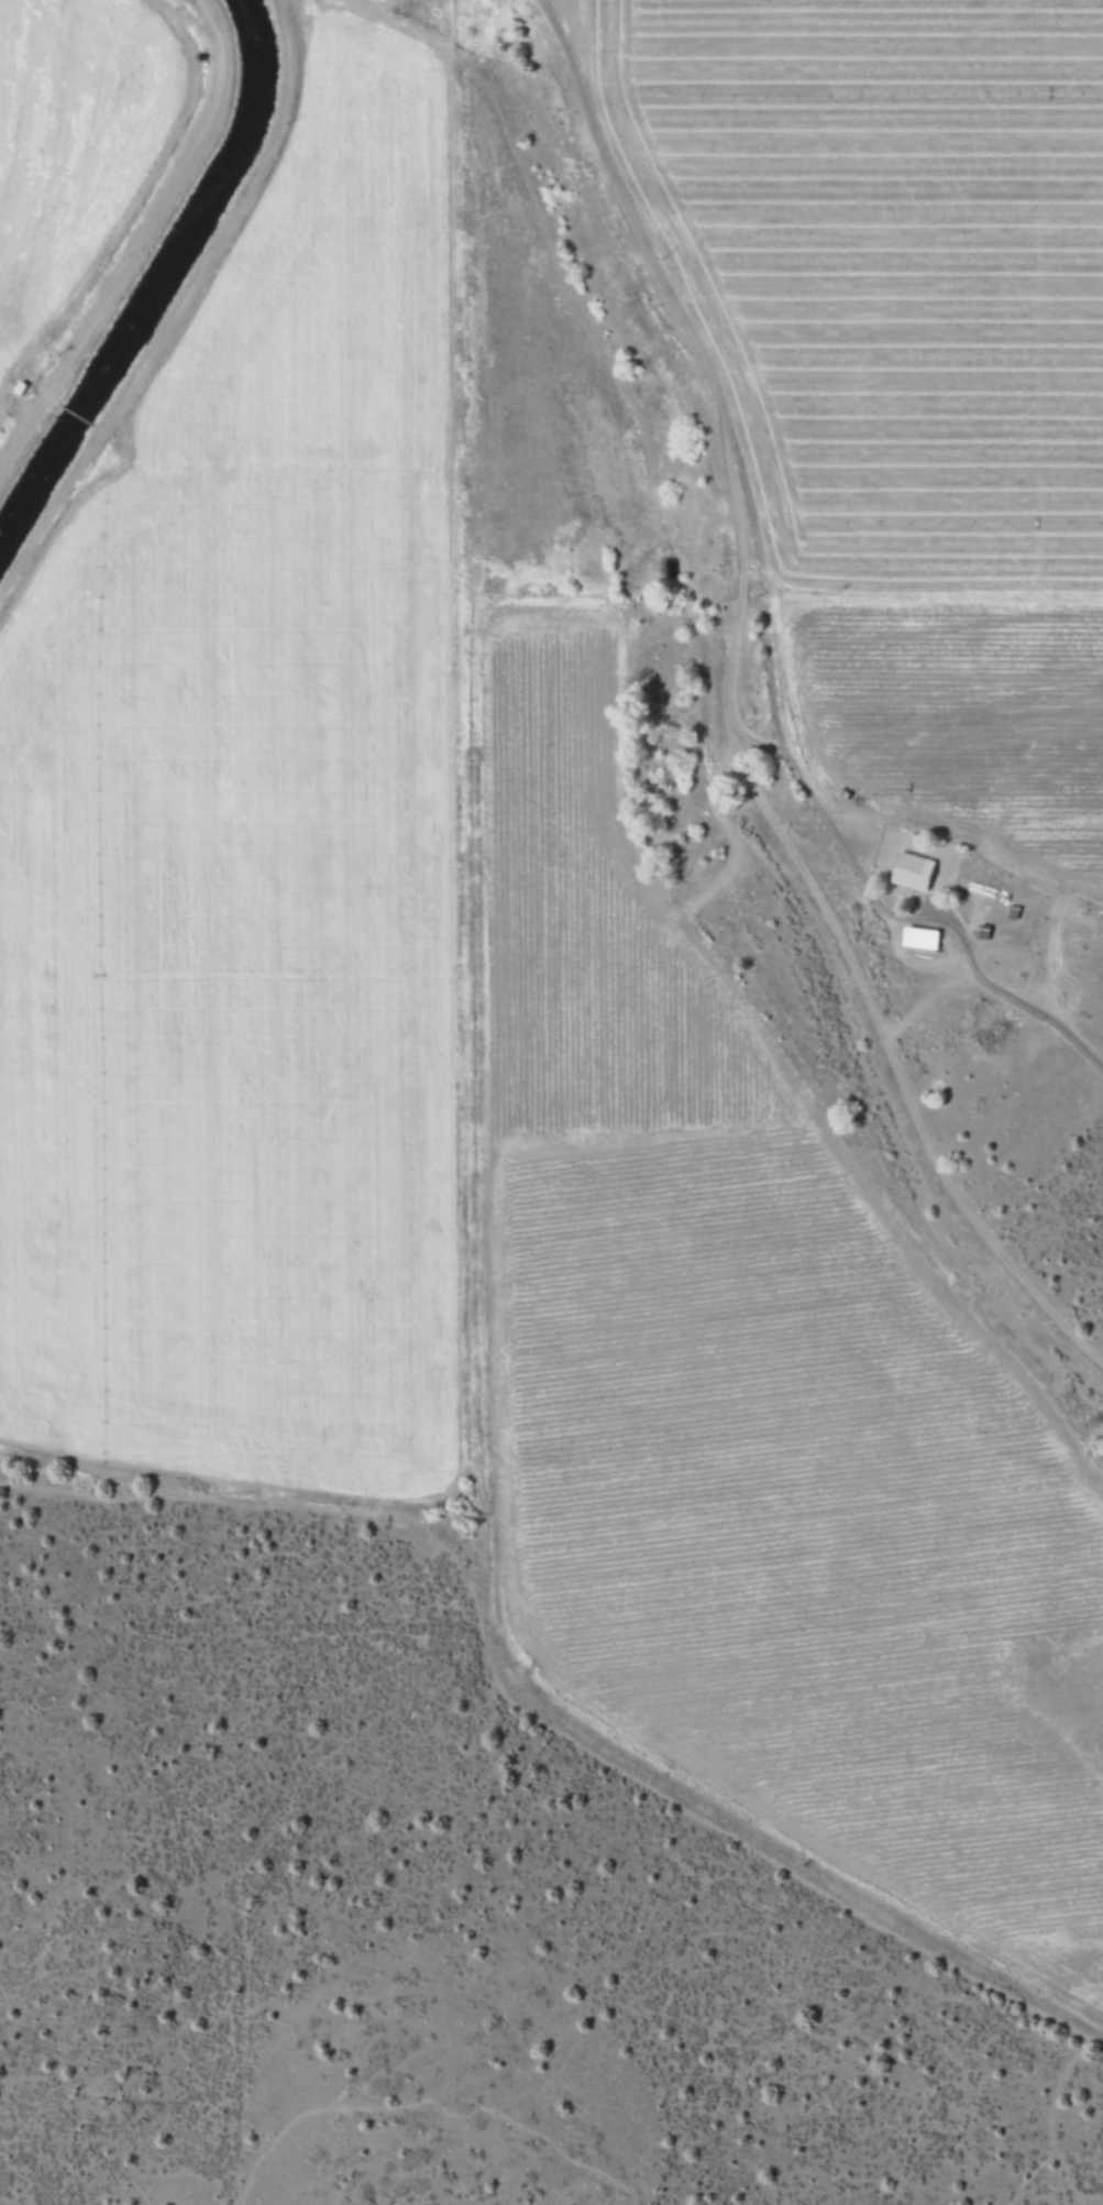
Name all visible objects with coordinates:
road: (742, 478)
building: (911, 870)
road: (829, 915)
building: (919, 936)

